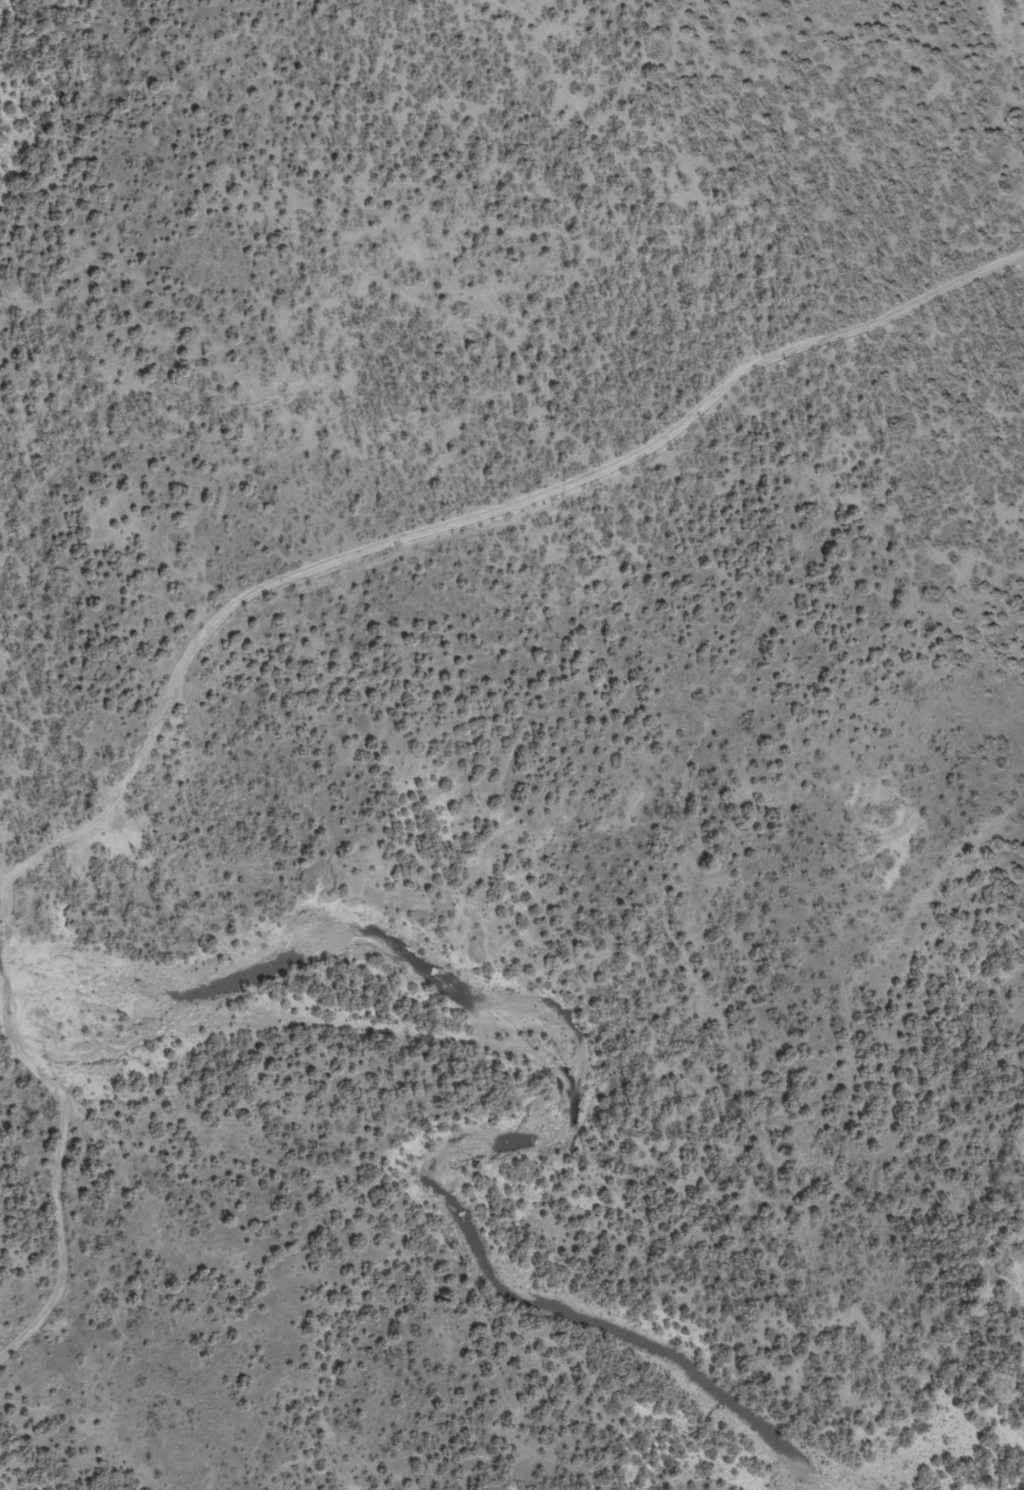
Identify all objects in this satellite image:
road: (303, 578)

